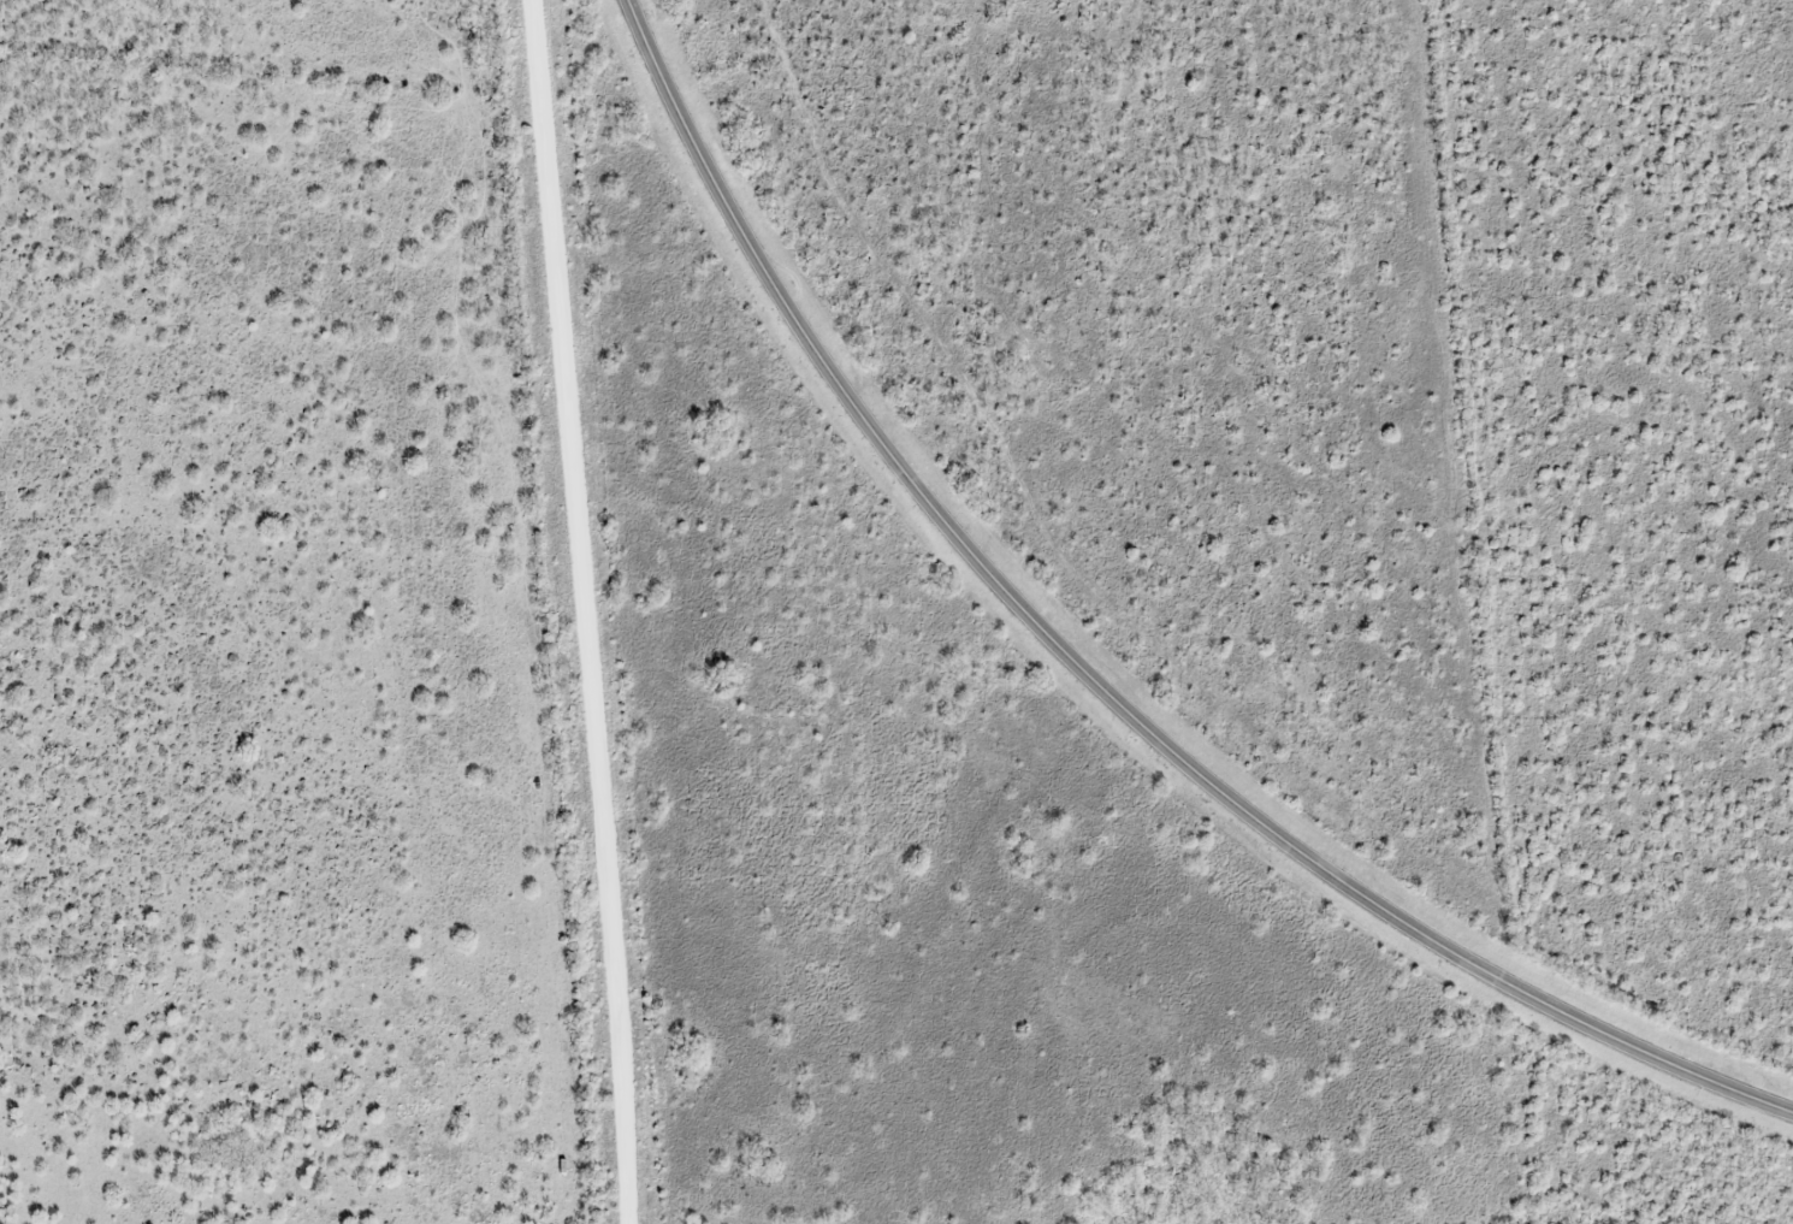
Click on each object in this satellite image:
road: (582, 611)
road: (1093, 678)

